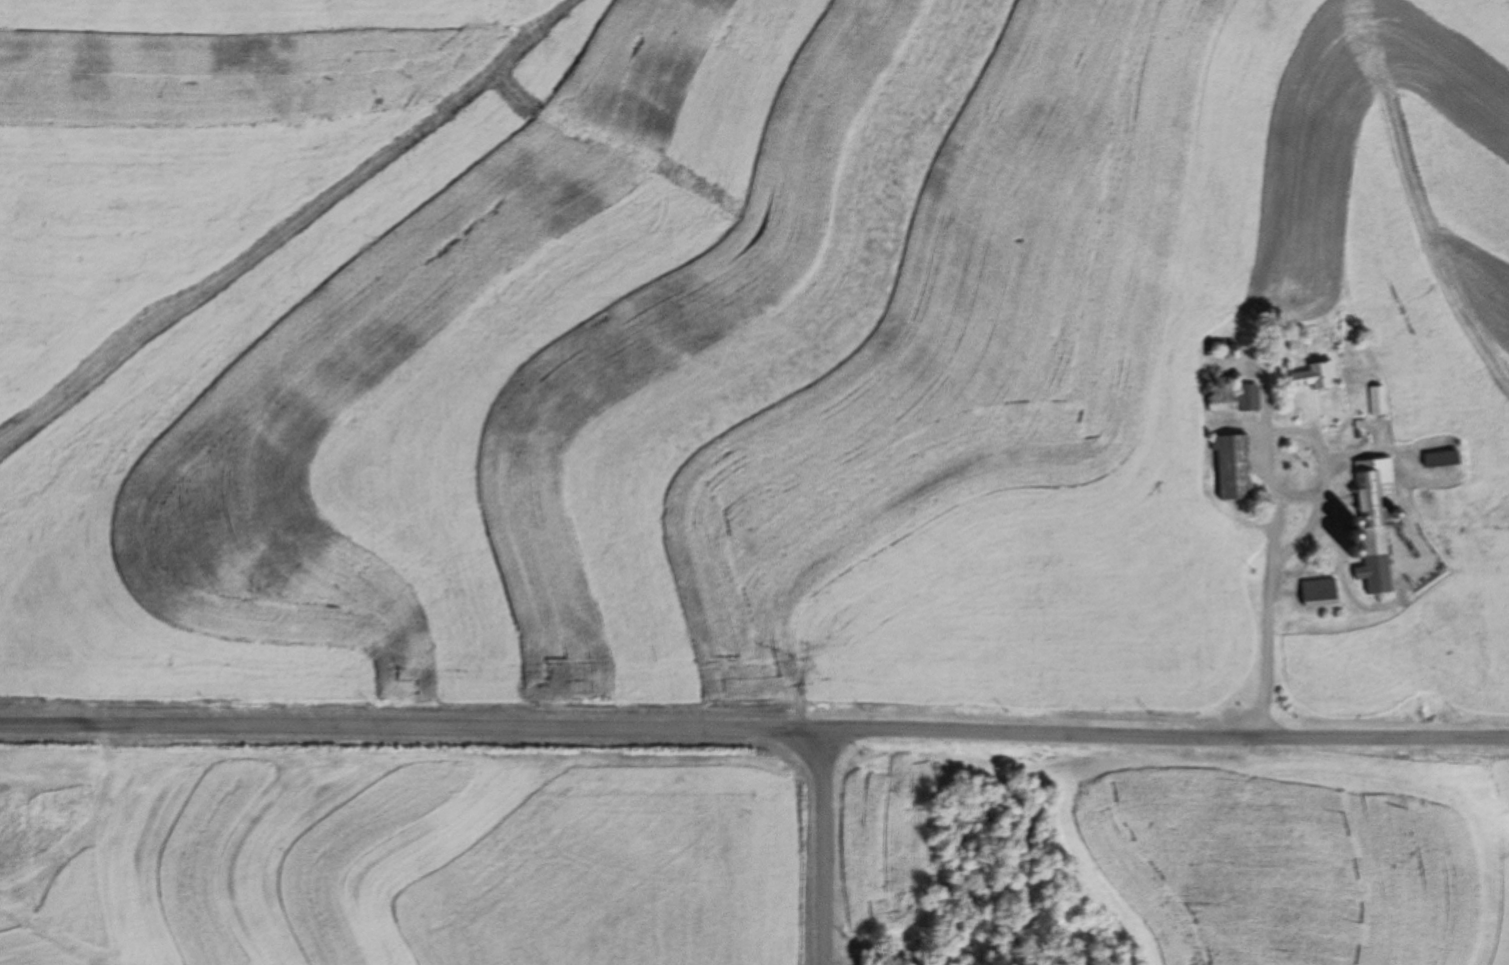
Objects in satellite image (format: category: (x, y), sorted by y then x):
building: (1315, 376)
building: (1237, 400)
building: (1378, 400)
road: (1262, 458)
building: (1443, 459)
building: (1234, 466)
road: (1298, 492)
building: (1376, 521)
road: (1299, 535)
building: (1320, 590)
road: (754, 725)
road: (826, 845)

